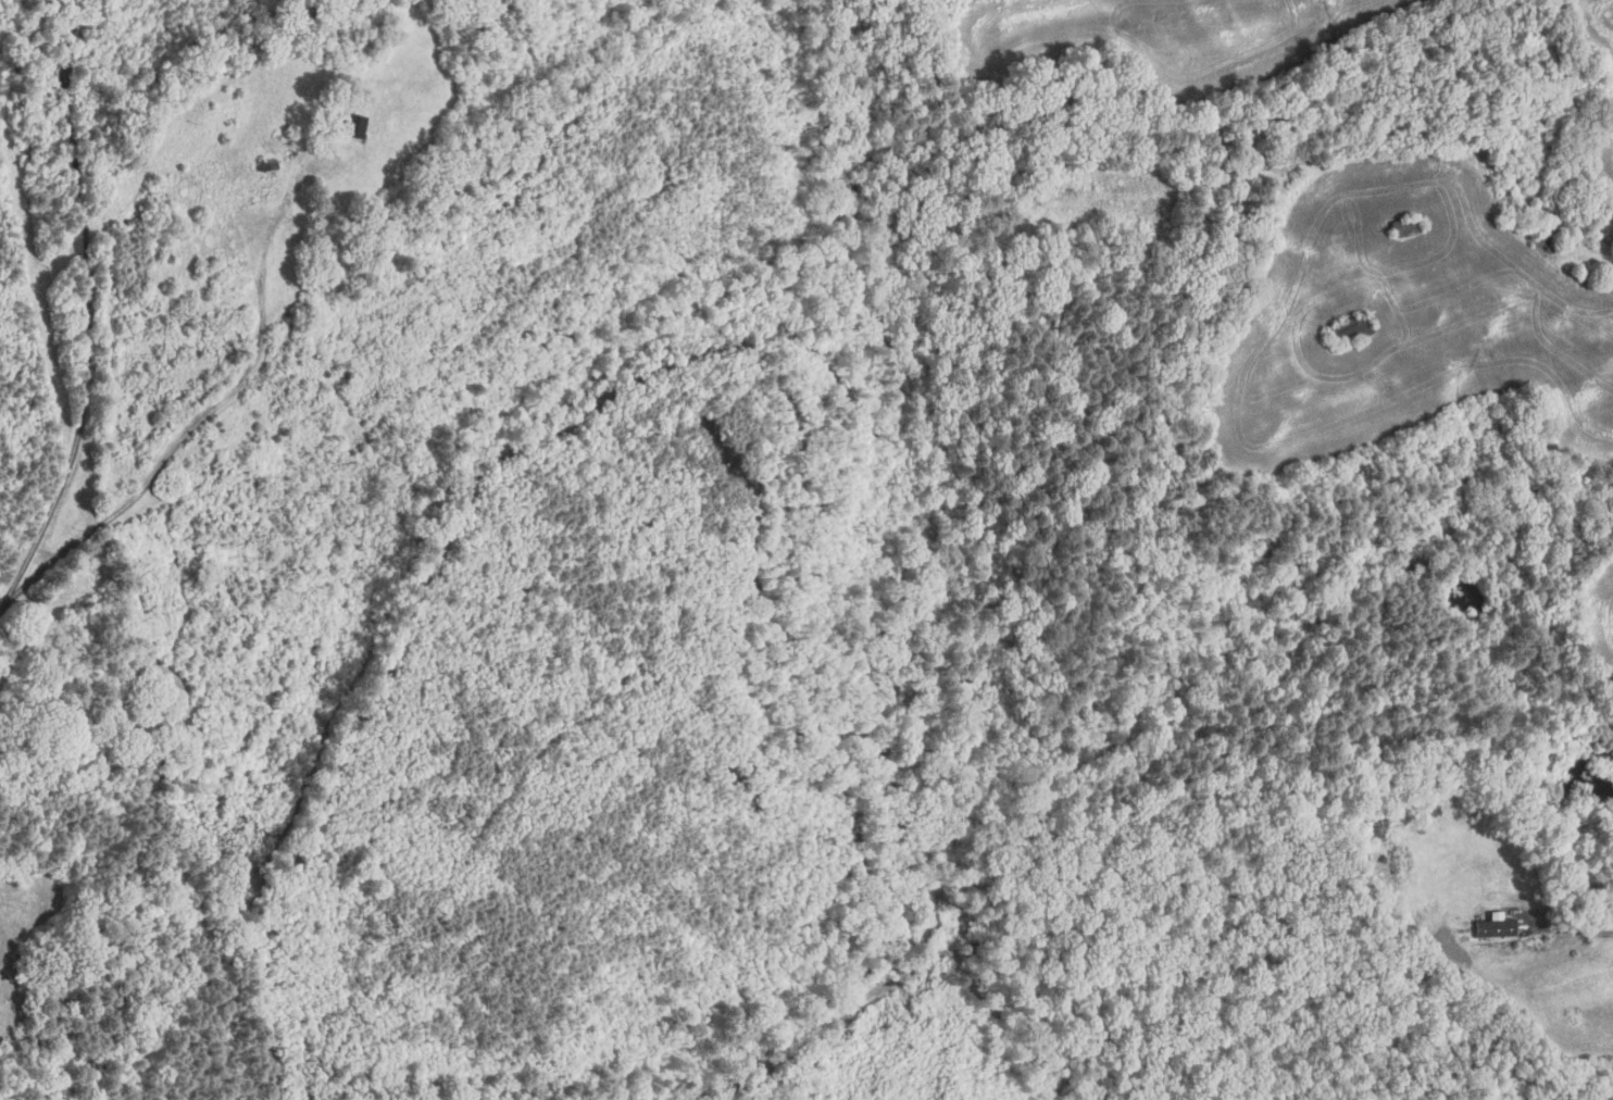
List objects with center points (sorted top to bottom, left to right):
building: (351, 124)
building: (1405, 227)
building: (1604, 228)
building: (1547, 238)
road: (1579, 254)
road: (85, 305)
building: (1350, 332)
building: (1428, 812)
building: (1493, 928)
road: (1570, 929)

